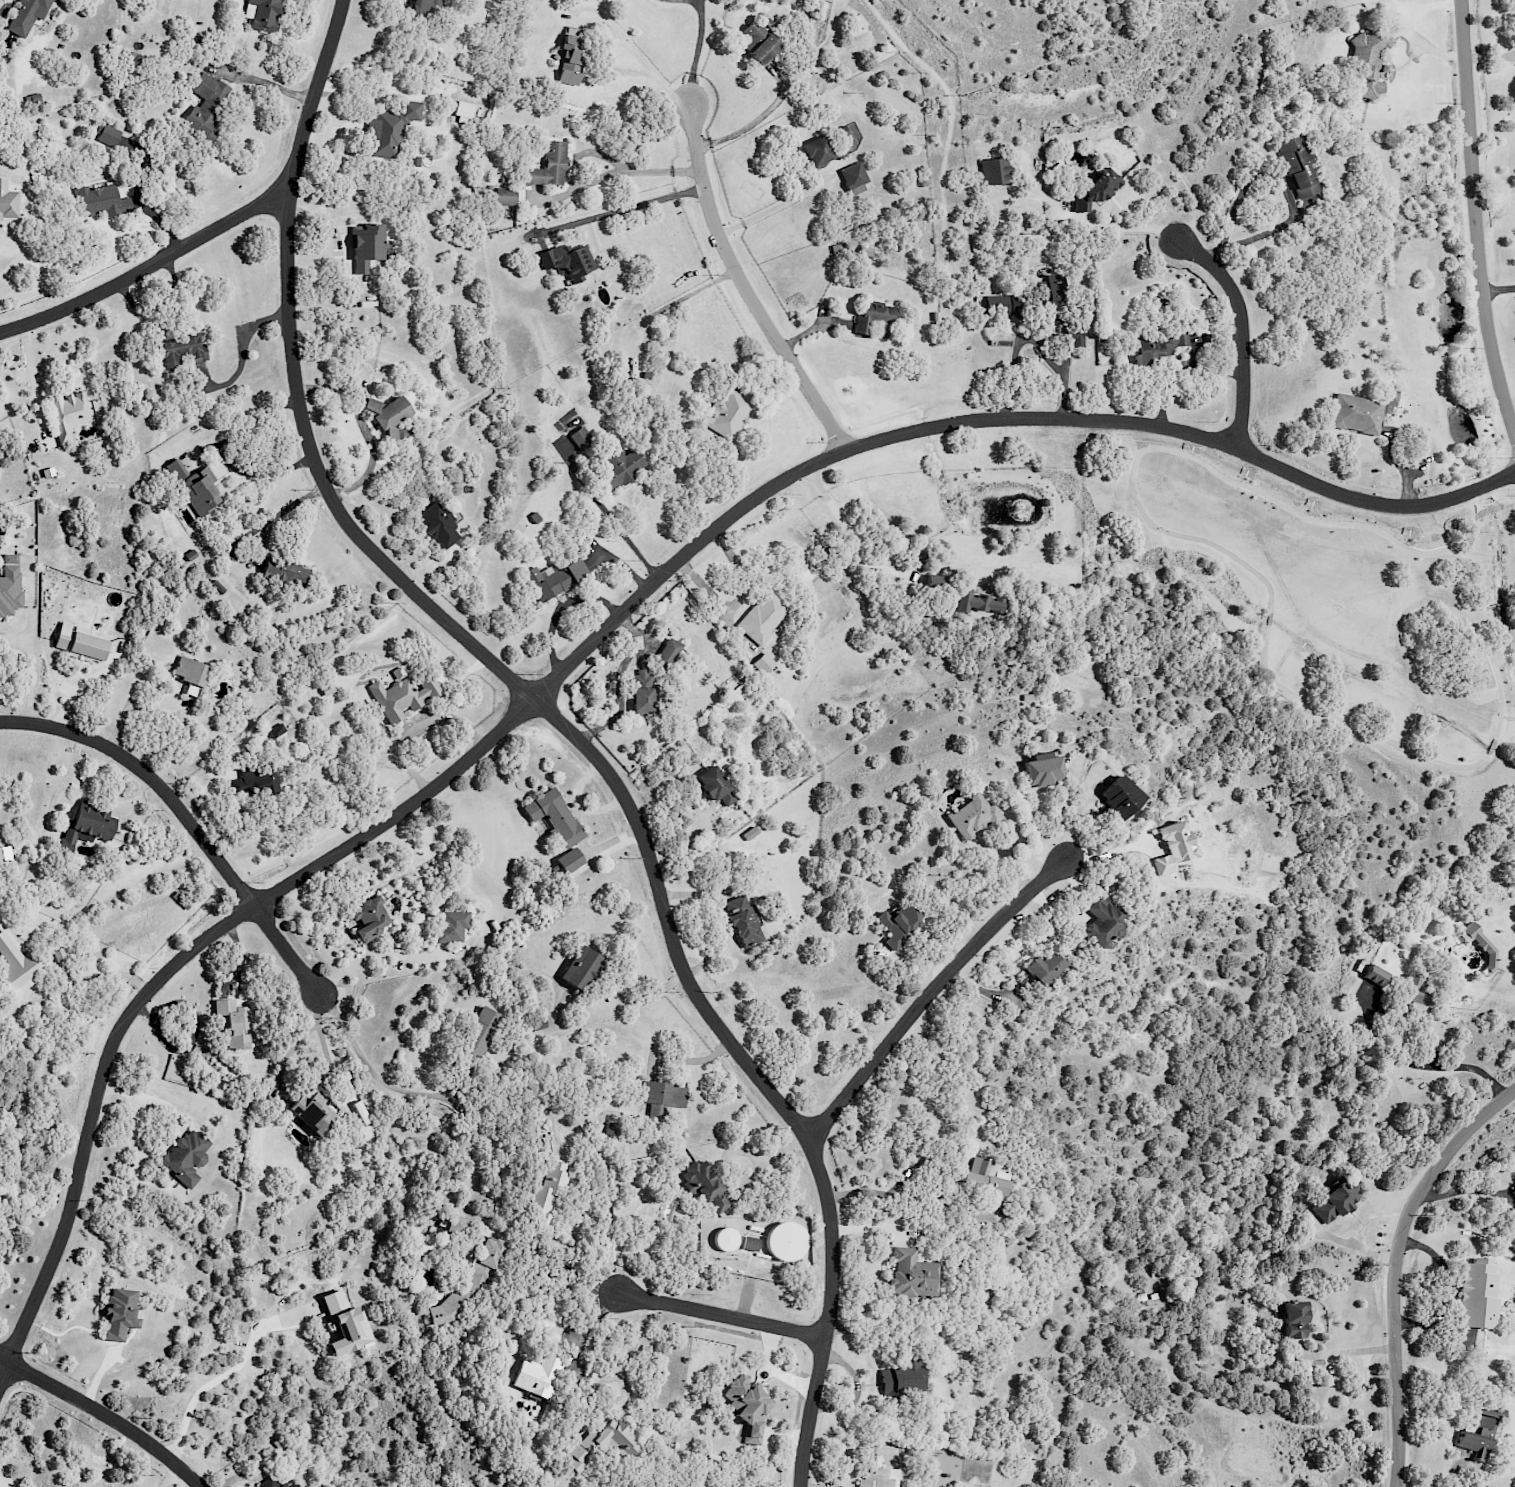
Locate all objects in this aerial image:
building: (416, 6)
road: (7, 8)
building: (261, 14)
building: (26, 15)
building: (755, 41)
road: (696, 54)
building: (569, 55)
road: (648, 71)
road: (265, 84)
building: (206, 104)
building: (463, 112)
building: (388, 129)
road: (748, 129)
building: (106, 135)
building: (817, 155)
building: (548, 166)
building: (853, 179)
road: (588, 180)
building: (1101, 188)
building: (505, 195)
building: (101, 201)
building: (7, 202)
road: (625, 208)
road: (769, 208)
road: (1474, 220)
road: (1116, 230)
building: (363, 247)
building: (565, 261)
road: (149, 268)
road: (743, 287)
road: (1498, 291)
road: (1242, 332)
building: (1154, 347)
building: (176, 350)
road: (245, 354)
road: (1047, 357)
road: (1013, 361)
road: (34, 381)
building: (1358, 411)
building: (68, 414)
building: (385, 415)
road: (228, 456)
road: (367, 468)
building: (47, 474)
building: (192, 486)
road: (1347, 499)
road: (617, 525)
building: (439, 526)
road: (852, 536)
road: (264, 539)
building: (279, 574)
building: (559, 580)
building: (9, 585)
building: (976, 602)
park: (1321, 635)
building: (77, 644)
road: (27, 671)
building: (190, 673)
road: (615, 679)
building: (402, 697)
road: (130, 703)
building: (644, 703)
road: (416, 727)
road: (564, 727)
road: (169, 746)
road: (1494, 748)
road: (475, 751)
building: (1042, 769)
building: (715, 786)
building: (1118, 797)
building: (552, 813)
building: (972, 816)
road: (183, 817)
building: (93, 824)
building: (1171, 846)
building: (569, 859)
building: (367, 918)
building: (741, 921)
building: (1100, 922)
building: (451, 925)
building: (897, 925)
building: (1480, 944)
building: (19, 968)
building: (580, 968)
building: (1043, 968)
building: (1375, 975)
road: (931, 989)
building: (1419, 994)
building: (233, 1022)
building: (480, 1034)
road: (364, 1060)
road: (1455, 1067)
building: (664, 1094)
building: (313, 1112)
building: (609, 1129)
building: (185, 1157)
building: (984, 1176)
building: (704, 1186)
building: (546, 1192)
road: (875, 1193)
building: (1333, 1199)
building: (457, 1225)
building: (724, 1239)
building: (784, 1241)
road: (1396, 1267)
road: (566, 1269)
building: (911, 1275)
building: (468, 1282)
building: (1476, 1294)
building: (119, 1313)
road: (719, 1316)
building: (1293, 1319)
building: (345, 1324)
road: (583, 1341)
road: (631, 1345)
road: (1350, 1352)
road: (226, 1371)
building: (536, 1375)
building: (901, 1378)
building: (746, 1407)
road: (102, 1415)
building: (1477, 1437)
building: (601, 1445)
building: (877, 1478)
building: (274, 1482)

